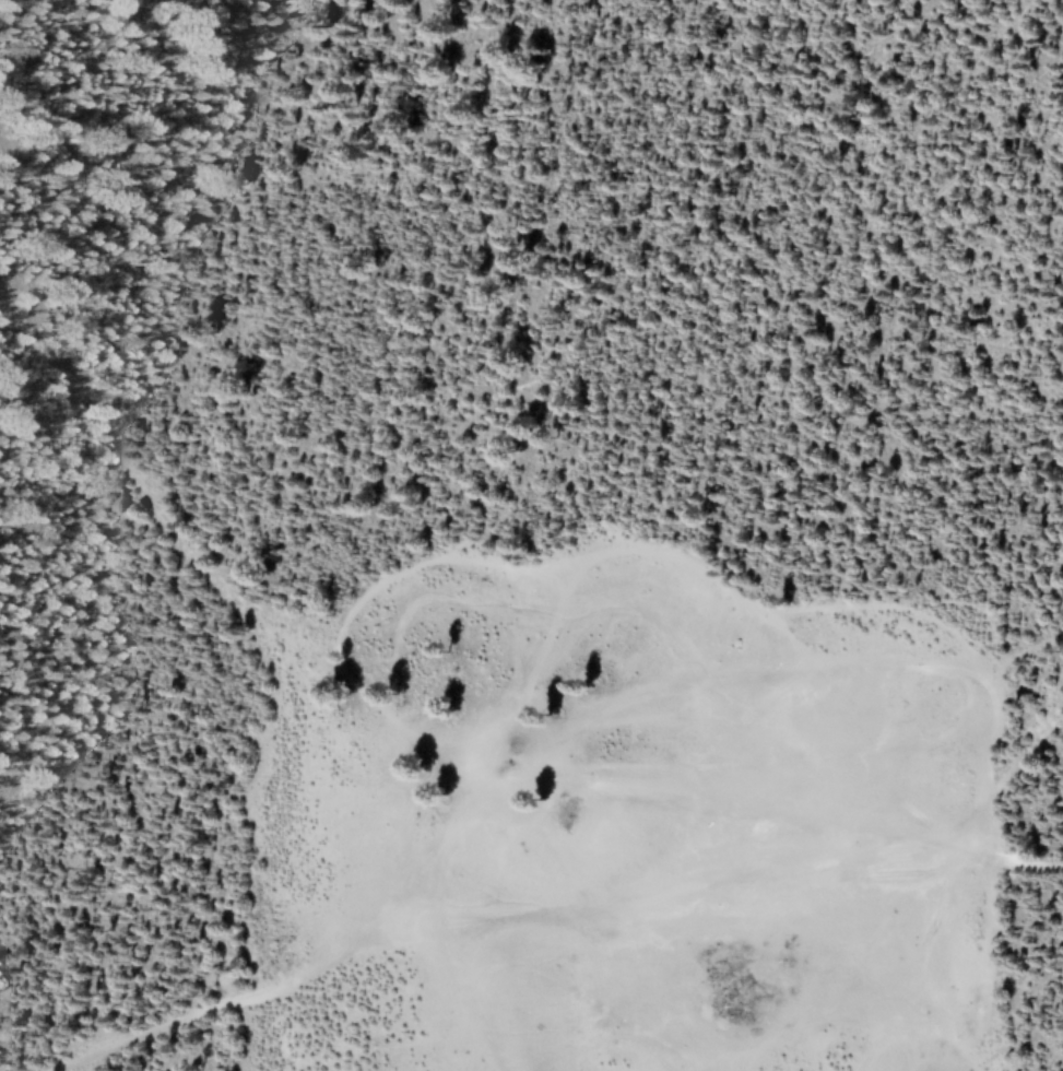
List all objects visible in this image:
road: (1014, 772)
road: (548, 910)

